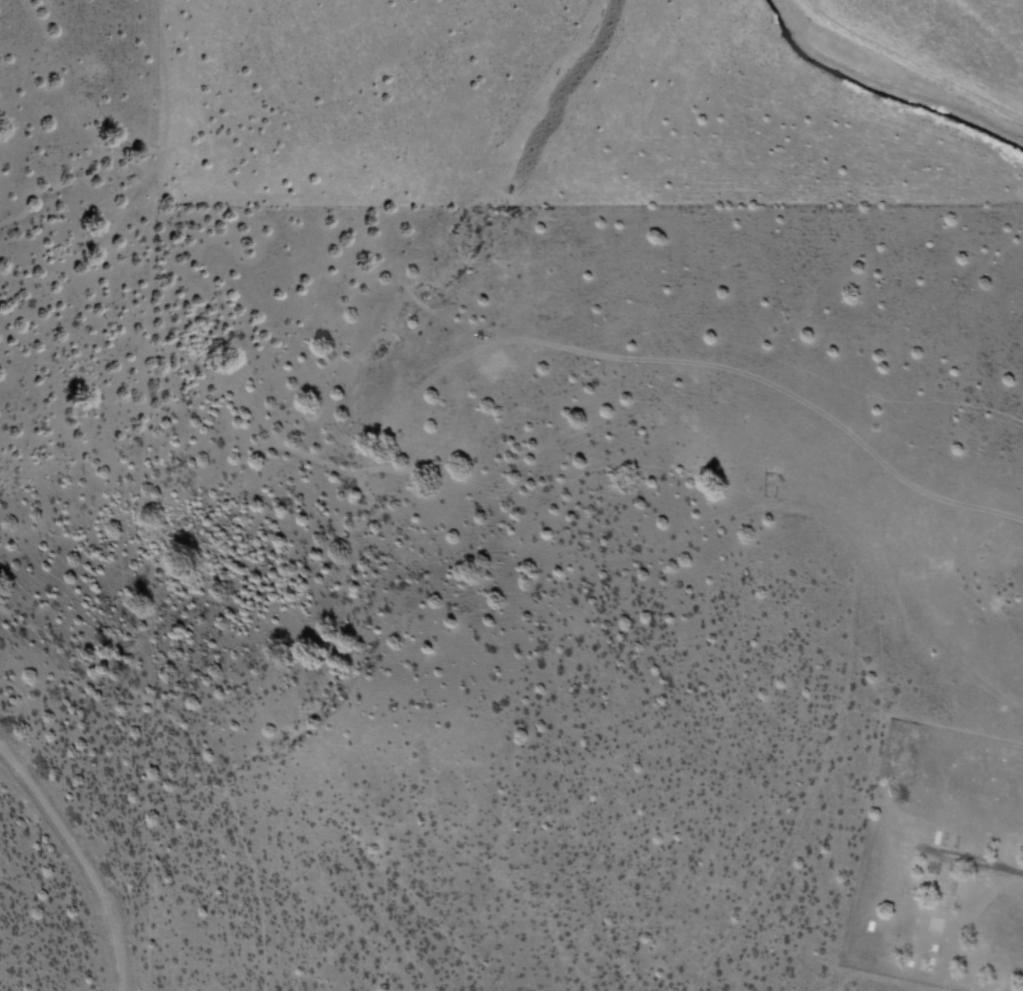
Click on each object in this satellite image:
park: (941, 863)

